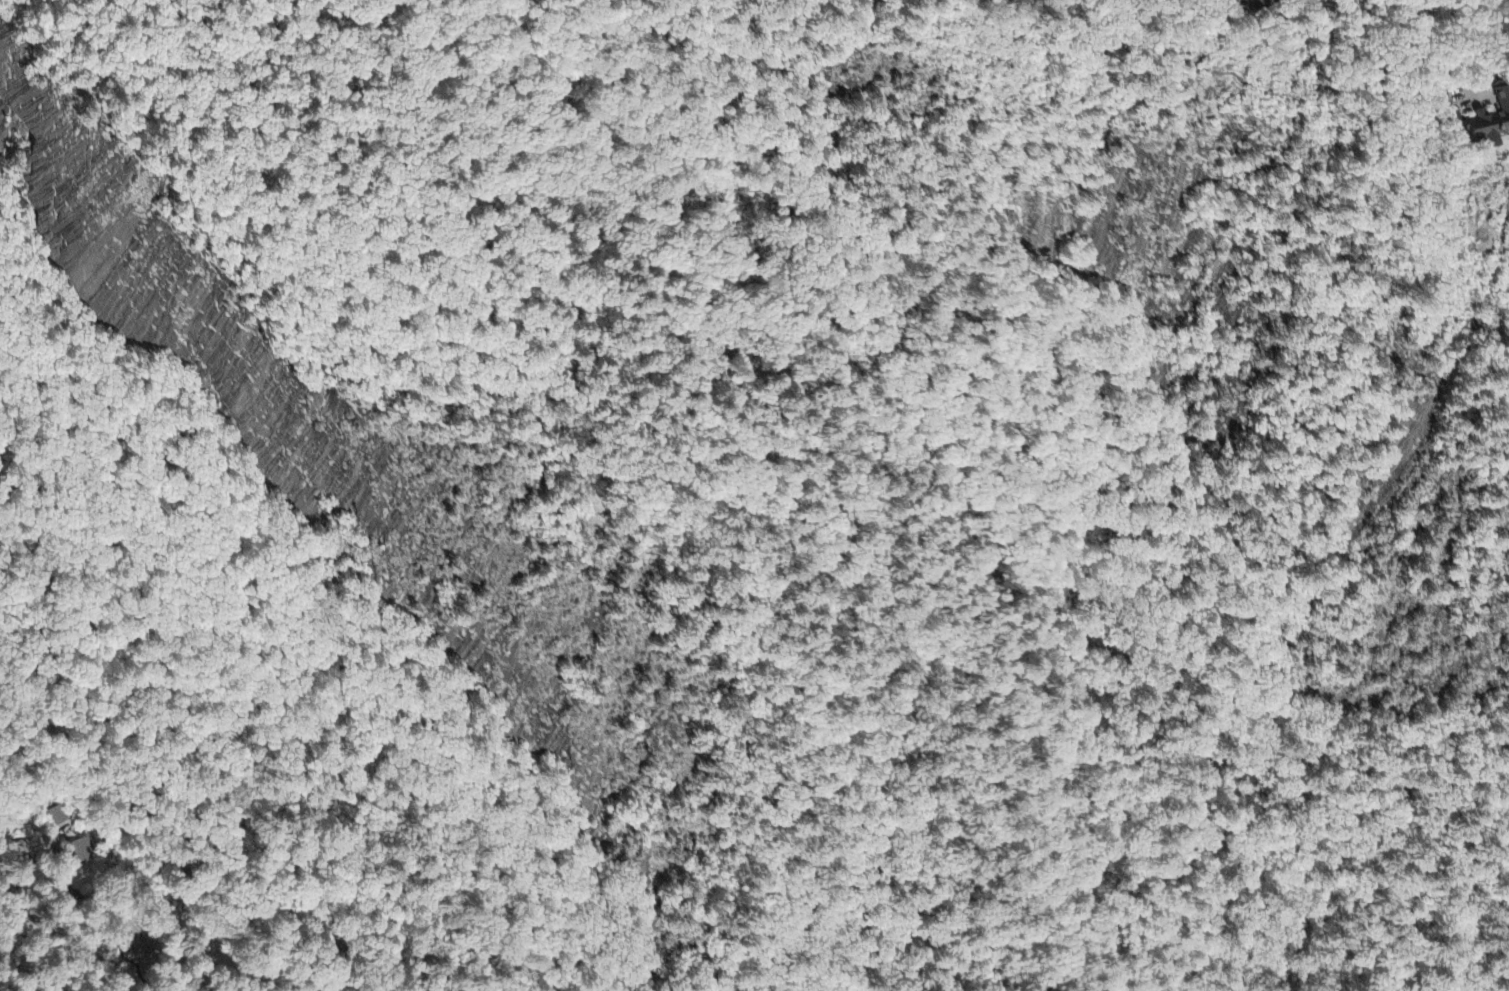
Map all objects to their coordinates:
building: (977, 0)
building: (1255, 5)
building: (1488, 124)
road: (181, 785)
building: (59, 817)
building: (80, 853)

